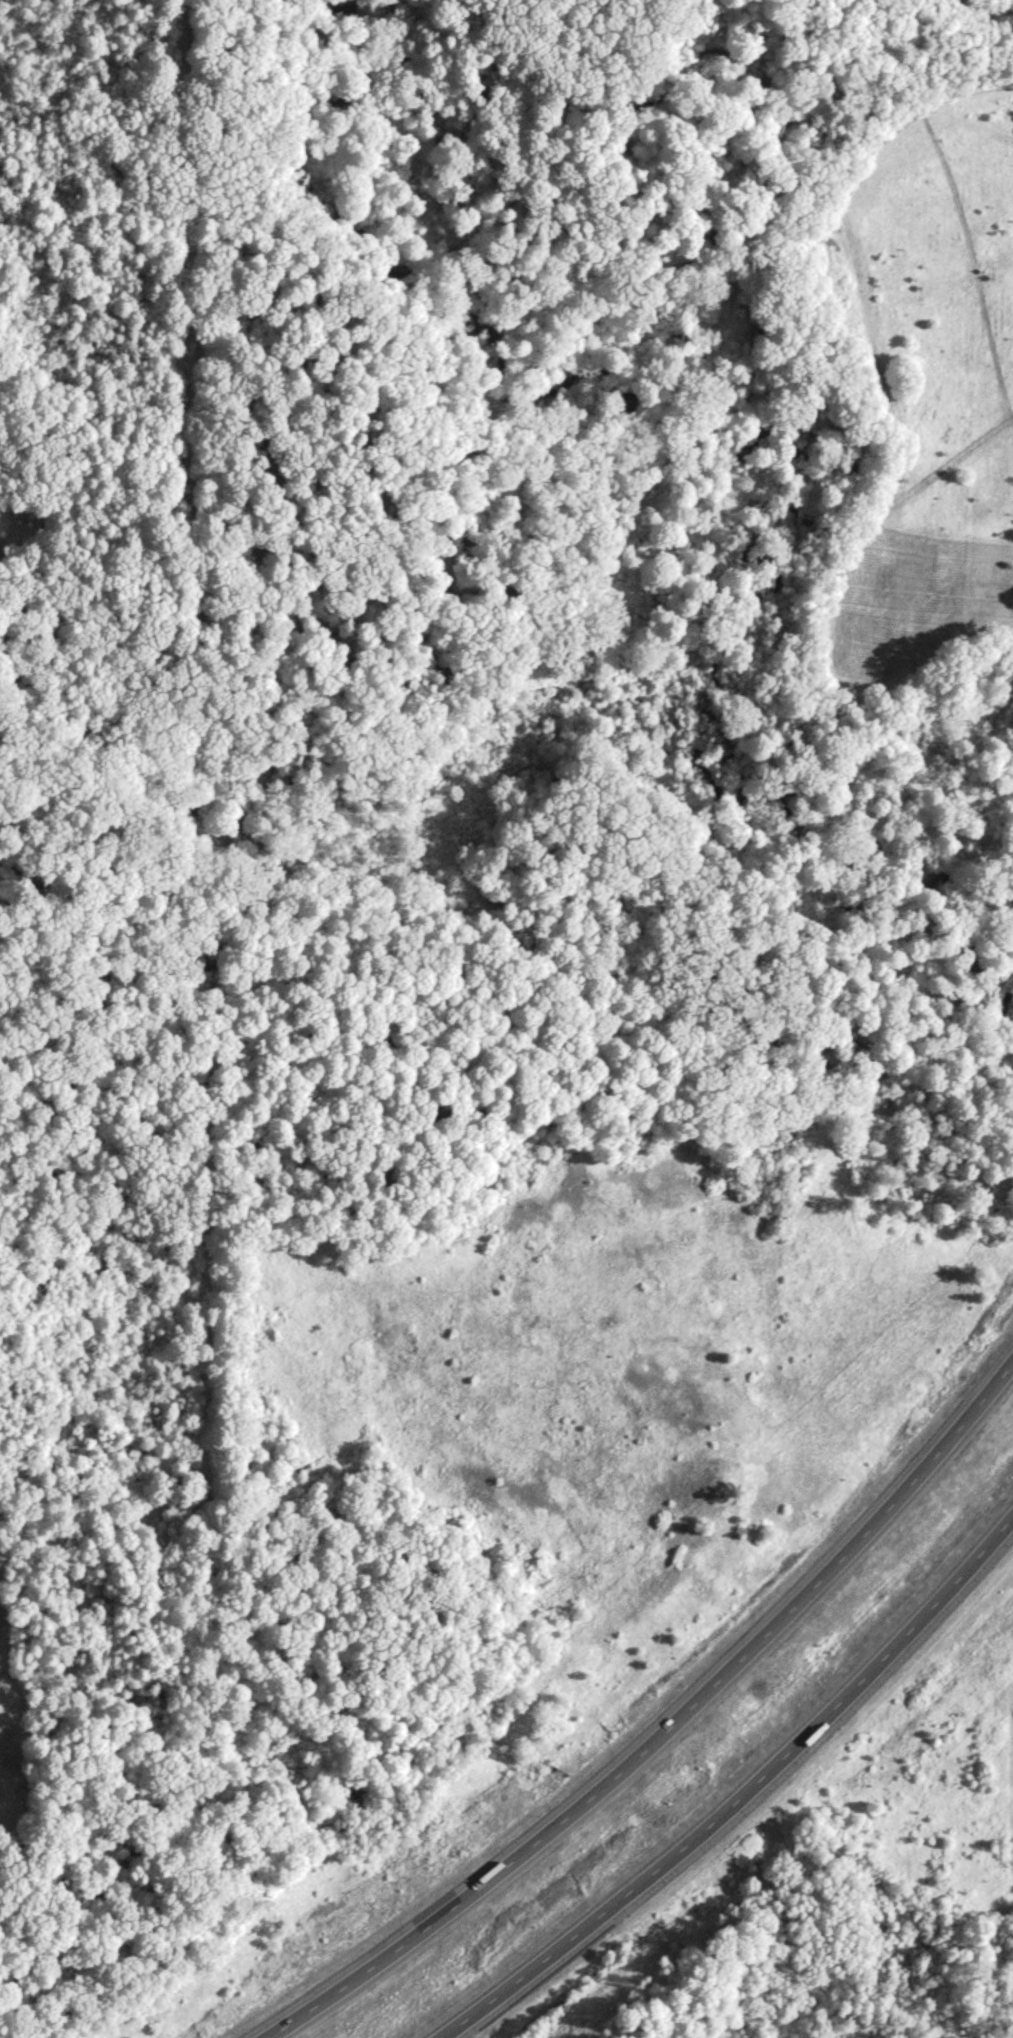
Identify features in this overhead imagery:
road: (666, 1730)
road: (745, 1793)

